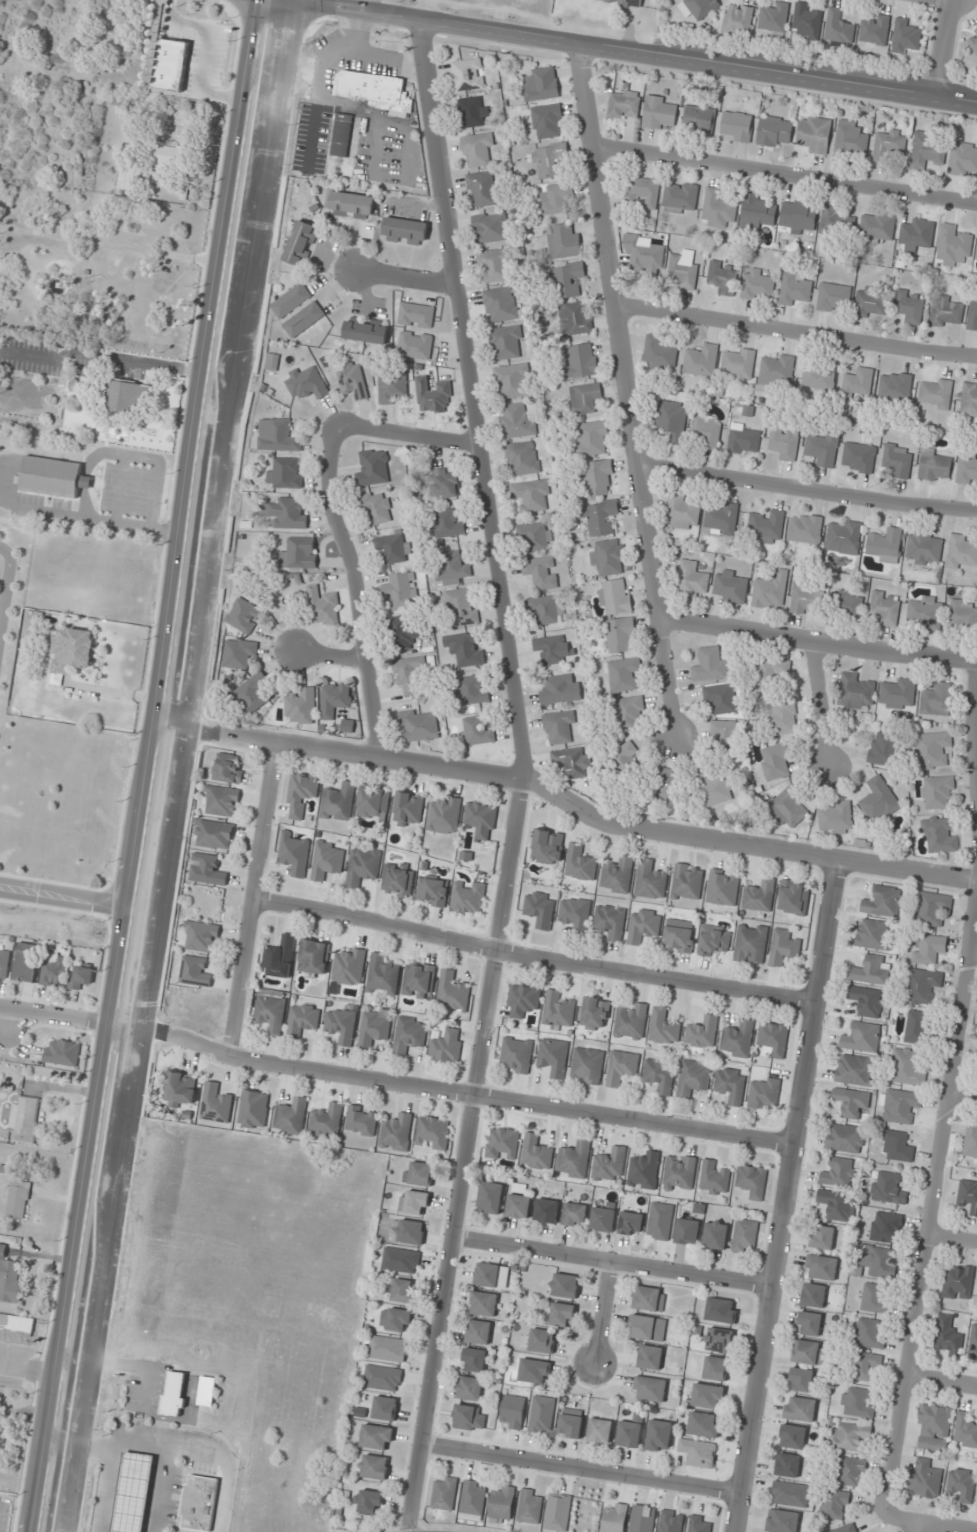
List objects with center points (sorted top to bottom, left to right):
road: (950, 0)
building: (625, 2)
building: (698, 7)
building: (774, 17)
building: (738, 19)
building: (807, 20)
building: (839, 27)
building: (875, 30)
building: (906, 37)
building: (972, 40)
road: (947, 48)
road: (634, 53)
building: (170, 65)
building: (467, 75)
building: (542, 84)
building: (371, 88)
building: (624, 104)
building: (473, 112)
building: (660, 113)
building: (698, 119)
building: (547, 121)
building: (736, 126)
building: (774, 131)
building: (815, 134)
building: (341, 135)
building: (851, 137)
building: (889, 144)
building: (478, 150)
building: (926, 150)
building: (168, 155)
building: (963, 158)
building: (549, 159)
road: (786, 175)
building: (482, 189)
building: (644, 191)
building: (679, 197)
building: (556, 198)
building: (350, 205)
building: (718, 210)
building: (757, 211)
building: (798, 216)
building: (835, 219)
building: (877, 227)
building: (490, 228)
building: (405, 231)
building: (917, 234)
building: (564, 240)
building: (300, 243)
building: (953, 246)
building: (644, 251)
building: (976, 257)
building: (493, 266)
building: (684, 269)
building: (723, 277)
road: (408, 279)
building: (568, 280)
building: (758, 285)
building: (795, 289)
building: (834, 294)
building: (291, 300)
building: (870, 303)
building: (500, 304)
building: (909, 306)
building: (946, 312)
building: (416, 315)
building: (972, 315)
building: (575, 318)
building: (304, 319)
building: (366, 330)
road: (797, 332)
building: (506, 342)
building: (415, 345)
building: (658, 355)
building: (701, 360)
building: (267, 361)
building: (579, 361)
building: (738, 363)
building: (777, 370)
building: (818, 377)
building: (352, 380)
building: (512, 381)
building: (306, 383)
building: (858, 385)
building: (895, 386)
building: (392, 388)
building: (126, 392)
road: (628, 392)
building: (936, 394)
building: (432, 396)
building: (584, 398)
building: (969, 400)
road: (474, 401)
building: (672, 420)
building: (516, 421)
building: (706, 430)
building: (277, 436)
building: (592, 438)
road: (408, 439)
building: (744, 439)
building: (784, 443)
building: (823, 449)
building: (859, 457)
building: (522, 458)
building: (898, 460)
building: (935, 466)
building: (374, 469)
building: (967, 469)
building: (285, 473)
building: (54, 477)
building: (596, 478)
building: (444, 485)
road: (807, 488)
building: (532, 495)
building: (377, 508)
building: (286, 513)
building: (682, 513)
building: (722, 518)
building: (601, 519)
building: (446, 524)
building: (766, 527)
building: (805, 529)
building: (537, 537)
building: (844, 537)
building: (885, 545)
building: (392, 548)
building: (924, 549)
building: (299, 553)
building: (962, 553)
building: (608, 557)
building: (452, 569)
building: (540, 572)
building: (692, 578)
building: (731, 586)
road: (7, 587)
road: (358, 591)
building: (400, 591)
building: (770, 591)
building: (615, 597)
building: (805, 600)
building: (850, 605)
building: (323, 607)
building: (460, 607)
building: (886, 608)
building: (546, 610)
building: (924, 613)
building: (963, 614)
building: (243, 616)
building: (404, 633)
building: (619, 634)
road: (818, 641)
building: (466, 649)
building: (552, 649)
building: (71, 651)
building: (239, 653)
road: (335, 658)
building: (710, 664)
building: (773, 670)
building: (408, 674)
building: (624, 675)
building: (560, 689)
building: (472, 691)
building: (855, 692)
building: (253, 693)
building: (898, 694)
building: (720, 698)
building: (334, 699)
building: (936, 700)
road: (821, 703)
building: (302, 706)
building: (629, 713)
building: (783, 717)
building: (419, 725)
building: (559, 727)
building: (476, 732)
building: (724, 737)
building: (883, 749)
building: (932, 749)
building: (626, 760)
building: (573, 762)
building: (773, 764)
road: (165, 766)
building: (227, 769)
building: (667, 784)
building: (713, 789)
building: (937, 792)
building: (301, 794)
building: (879, 800)
building: (221, 801)
building: (338, 803)
building: (373, 803)
road: (573, 807)
building: (408, 808)
building: (788, 808)
building: (444, 816)
building: (835, 818)
building: (481, 819)
building: (214, 834)
building: (938, 835)
building: (547, 846)
building: (294, 854)
building: (327, 859)
building: (580, 864)
building: (362, 865)
building: (207, 869)
building: (617, 875)
building: (397, 880)
building: (650, 881)
building: (687, 883)
building: (723, 888)
building: (432, 892)
building: (759, 896)
road: (48, 898)
building: (468, 898)
building: (793, 898)
road: (252, 899)
road: (110, 902)
building: (882, 902)
building: (931, 908)
building: (540, 909)
building: (575, 914)
building: (610, 921)
building: (643, 925)
building: (873, 934)
building: (200, 937)
building: (678, 939)
building: (713, 940)
building: (750, 943)
building: (783, 947)
building: (929, 949)
building: (279, 957)
building: (313, 957)
road: (973, 957)
road: (532, 958)
building: (4, 961)
building: (25, 962)
building: (349, 967)
building: (53, 970)
building: (195, 971)
building: (871, 971)
building: (382, 975)
building: (80, 977)
building: (418, 980)
building: (921, 986)
building: (452, 991)
building: (523, 1000)
building: (866, 1001)
building: (558, 1010)
building: (271, 1013)
building: (595, 1013)
building: (302, 1019)
building: (631, 1023)
building: (341, 1025)
building: (374, 1027)
building: (916, 1027)
building: (663, 1028)
building: (702, 1033)
building: (409, 1034)
building: (861, 1038)
building: (773, 1039)
building: (737, 1040)
building: (447, 1046)
building: (62, 1052)
building: (517, 1054)
building: (553, 1056)
building: (587, 1066)
building: (907, 1067)
building: (621, 1068)
building: (854, 1070)
building: (659, 1075)
building: (693, 1077)
road: (396, 1083)
building: (730, 1084)
building: (179, 1089)
building: (764, 1093)
road: (965, 1097)
building: (850, 1102)
building: (215, 1104)
building: (899, 1106)
building: (253, 1109)
building: (290, 1117)
building: (25, 1119)
building: (326, 1121)
building: (361, 1121)
building: (396, 1132)
building: (432, 1133)
building: (844, 1138)
building: (971, 1142)
building: (503, 1143)
building: (897, 1146)
building: (536, 1153)
road: (463, 1154)
building: (574, 1161)
building: (609, 1164)
building: (644, 1171)
building: (678, 1172)
building: (838, 1172)
building: (419, 1174)
building: (714, 1179)
building: (752, 1181)
building: (888, 1188)
building: (968, 1196)
building: (490, 1197)
road: (787, 1198)
building: (17, 1200)
building: (414, 1202)
building: (518, 1206)
building: (836, 1206)
building: (547, 1210)
building: (574, 1214)
road: (933, 1215)
building: (602, 1219)
building: (660, 1221)
building: (630, 1223)
building: (886, 1227)
building: (687, 1231)
building: (408, 1232)
building: (715, 1235)
building: (745, 1236)
building: (822, 1237)
road: (953, 1240)
building: (401, 1260)
building: (878, 1261)
road: (612, 1262)
building: (821, 1267)
building: (487, 1275)
building: (9, 1278)
building: (958, 1282)
building: (564, 1285)
building: (403, 1291)
building: (813, 1295)
building: (649, 1299)
building: (874, 1299)
building: (483, 1303)
building: (721, 1310)
road: (603, 1313)
building: (562, 1315)
building: (395, 1319)
building: (809, 1323)
building: (17, 1324)
building: (647, 1328)
building: (478, 1332)
building: (869, 1333)
building: (947, 1335)
building: (718, 1340)
building: (542, 1341)
building: (973, 1343)
building: (388, 1348)
building: (808, 1352)
building: (650, 1357)
building: (474, 1360)
building: (866, 1365)
building: (716, 1369)
building: (534, 1371)
building: (383, 1378)
building: (804, 1380)
road: (943, 1383)
building: (470, 1388)
building: (650, 1389)
building: (174, 1394)
building: (707, 1396)
building: (858, 1402)
building: (385, 1408)
building: (800, 1409)
building: (513, 1411)
building: (542, 1415)
building: (468, 1418)
building: (703, 1424)
building: (570, 1426)
building: (934, 1428)
building: (600, 1430)
building: (630, 1431)
building: (965, 1431)
building: (659, 1435)
building: (792, 1436)
building: (850, 1436)
building: (377, 1437)
building: (787, 1465)
building: (375, 1466)
road: (581, 1469)
building: (851, 1471)
building: (924, 1479)
building: (962, 1484)
building: (133, 1492)
building: (444, 1493)
building: (790, 1494)
building: (474, 1497)
building: (370, 1501)
building: (199, 1503)
building: (502, 1503)
building: (835, 1504)
building: (530, 1506)
building: (558, 1512)
building: (615, 1517)
building: (671, 1520)
building: (782, 1521)
building: (700, 1524)
road: (921, 1526)
building: (846, 1528)
road: (915, 1529)

